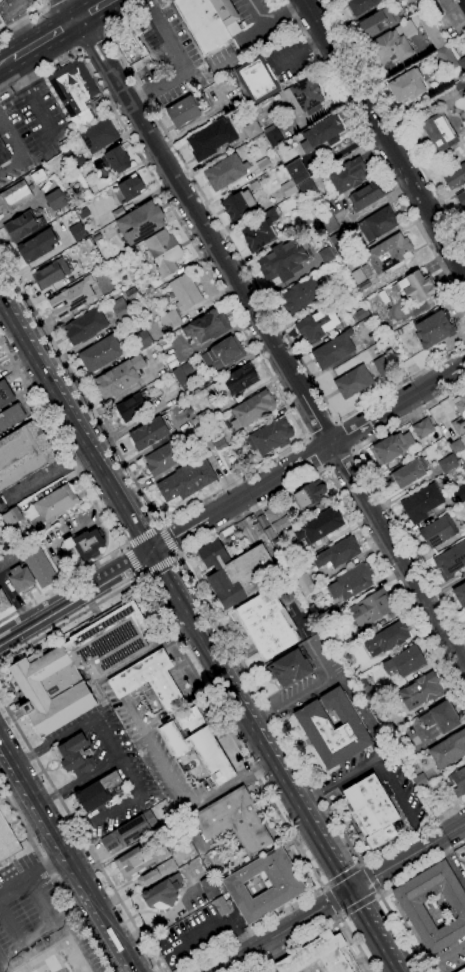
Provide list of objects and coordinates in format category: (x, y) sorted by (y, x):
building: (1, 1)
road: (50, 1)
parking lot: (333, 2)
road: (46, 4)
building: (361, 5)
building: (462, 7)
building: (432, 9)
road: (67, 10)
road: (92, 10)
building: (224, 11)
road: (24, 17)
road: (271, 20)
road: (25, 22)
building: (377, 22)
building: (1, 23)
building: (203, 24)
building: (429, 29)
railway: (51, 31)
road: (165, 34)
railway: (59, 35)
road: (104, 36)
road: (44, 39)
road: (91, 43)
building: (392, 45)
building: (131, 47)
road: (79, 49)
building: (446, 59)
road: (6, 62)
building: (462, 64)
building: (256, 79)
road: (156, 85)
building: (406, 85)
building: (460, 88)
building: (74, 91)
road: (29, 95)
building: (303, 97)
building: (183, 112)
road: (393, 121)
building: (252, 130)
building: (439, 132)
building: (321, 133)
building: (99, 135)
road: (384, 135)
building: (273, 137)
building: (211, 139)
road: (374, 153)
building: (3, 154)
building: (113, 160)
building: (263, 164)
building: (224, 172)
building: (296, 172)
building: (347, 175)
building: (38, 176)
building: (454, 177)
building: (254, 186)
building: (131, 187)
building: (288, 188)
building: (307, 188)
building: (14, 197)
building: (364, 197)
building: (461, 199)
building: (55, 200)
building: (238, 205)
building: (464, 215)
building: (141, 222)
building: (329, 224)
building: (378, 224)
building: (22, 226)
building: (76, 231)
building: (260, 232)
building: (340, 245)
building: (36, 246)
building: (163, 252)
building: (388, 254)
building: (325, 255)
building: (283, 260)
road: (242, 263)
building: (50, 274)
building: (357, 276)
building: (363, 286)
building: (416, 287)
building: (184, 292)
building: (131, 294)
building: (300, 296)
building: (72, 298)
building: (121, 310)
building: (360, 314)
building: (169, 319)
building: (317, 324)
building: (84, 326)
building: (206, 327)
building: (433, 330)
building: (142, 340)
road: (271, 345)
building: (333, 350)
building: (100, 354)
building: (223, 355)
building: (381, 366)
building: (183, 373)
building: (119, 377)
building: (239, 380)
building: (353, 382)
road: (60, 384)
building: (5, 394)
building: (133, 406)
building: (253, 408)
road: (292, 414)
building: (459, 416)
building: (10, 417)
building: (204, 417)
building: (422, 428)
road: (73, 430)
road: (322, 430)
building: (149, 433)
road: (345, 435)
building: (270, 436)
building: (205, 444)
building: (219, 446)
building: (391, 447)
building: (457, 447)
building: (22, 454)
road: (312, 455)
building: (164, 458)
road: (306, 459)
road: (339, 460)
building: (448, 463)
building: (408, 473)
building: (186, 481)
road: (376, 489)
building: (309, 494)
building: (460, 494)
road: (120, 498)
building: (421, 503)
road: (137, 504)
road: (95, 505)
building: (52, 507)
building: (11, 517)
building: (277, 517)
building: (318, 526)
road: (158, 527)
building: (438, 531)
road: (141, 538)
road: (166, 542)
building: (85, 544)
road: (161, 544)
building: (6, 545)
traffic signals: (162, 545)
road: (122, 548)
building: (337, 553)
traffic signals: (148, 554)
road: (176, 554)
building: (9, 559)
road: (133, 561)
building: (450, 561)
road: (158, 564)
building: (38, 566)
building: (237, 572)
road: (112, 576)
road: (142, 576)
building: (21, 579)
road: (184, 582)
building: (351, 582)
building: (304, 584)
road: (394, 585)
road: (168, 590)
building: (460, 594)
road: (179, 596)
building: (3, 602)
building: (370, 609)
building: (464, 610)
road: (38, 620)
building: (267, 624)
road: (225, 636)
building: (386, 639)
road: (148, 651)
flagpole: (176, 659)
road: (190, 660)
building: (404, 662)
building: (289, 668)
building: (43, 672)
building: (149, 681)
road: (201, 689)
road: (310, 689)
building: (420, 691)
building: (368, 694)
road: (251, 706)
flagpole: (211, 710)
road: (363, 713)
building: (440, 717)
building: (191, 721)
road: (139, 723)
building: (332, 729)
road: (106, 739)
building: (173, 739)
road: (54, 741)
road: (3, 744)
building: (448, 750)
road: (3, 753)
building: (74, 756)
building: (210, 756)
road: (11, 757)
road: (266, 760)
road: (37, 761)
road: (165, 768)
road: (338, 779)
building: (419, 781)
building: (457, 781)
road: (78, 782)
road: (27, 784)
road: (229, 787)
building: (97, 792)
road: (398, 804)
road: (117, 808)
road: (23, 811)
building: (371, 811)
road: (309, 819)
building: (234, 820)
building: (128, 831)
road: (412, 833)
road: (332, 834)
building: (7, 841)
building: (140, 858)
road: (52, 862)
road: (360, 865)
road: (450, 865)
road: (421, 867)
road: (34, 874)
building: (156, 874)
road: (342, 877)
road: (367, 879)
road: (54, 880)
road: (361, 883)
traffic signals: (362, 884)
building: (284, 887)
road: (323, 887)
road: (87, 888)
building: (207, 888)
building: (163, 892)
traffic signals: (347, 892)
road: (376, 894)
road: (339, 896)
road: (117, 898)
road: (332, 900)
road: (357, 902)
building: (220, 907)
building: (412, 908)
road: (356, 909)
parking lot: (29, 913)
road: (339, 915)
road: (161, 917)
road: (384, 921)
road: (88, 923)
road: (251, 931)
road: (12, 933)
road: (401, 934)
road: (58, 935)
road: (195, 936)
road: (382, 940)
road: (294, 944)
road: (355, 944)
road: (79, 947)
road: (379, 948)
building: (320, 955)
road: (398, 957)
road: (441, 958)
road: (2, 966)
road: (458, 968)
road: (388, 970)
building: (462, 970)
road: (137, 971)

